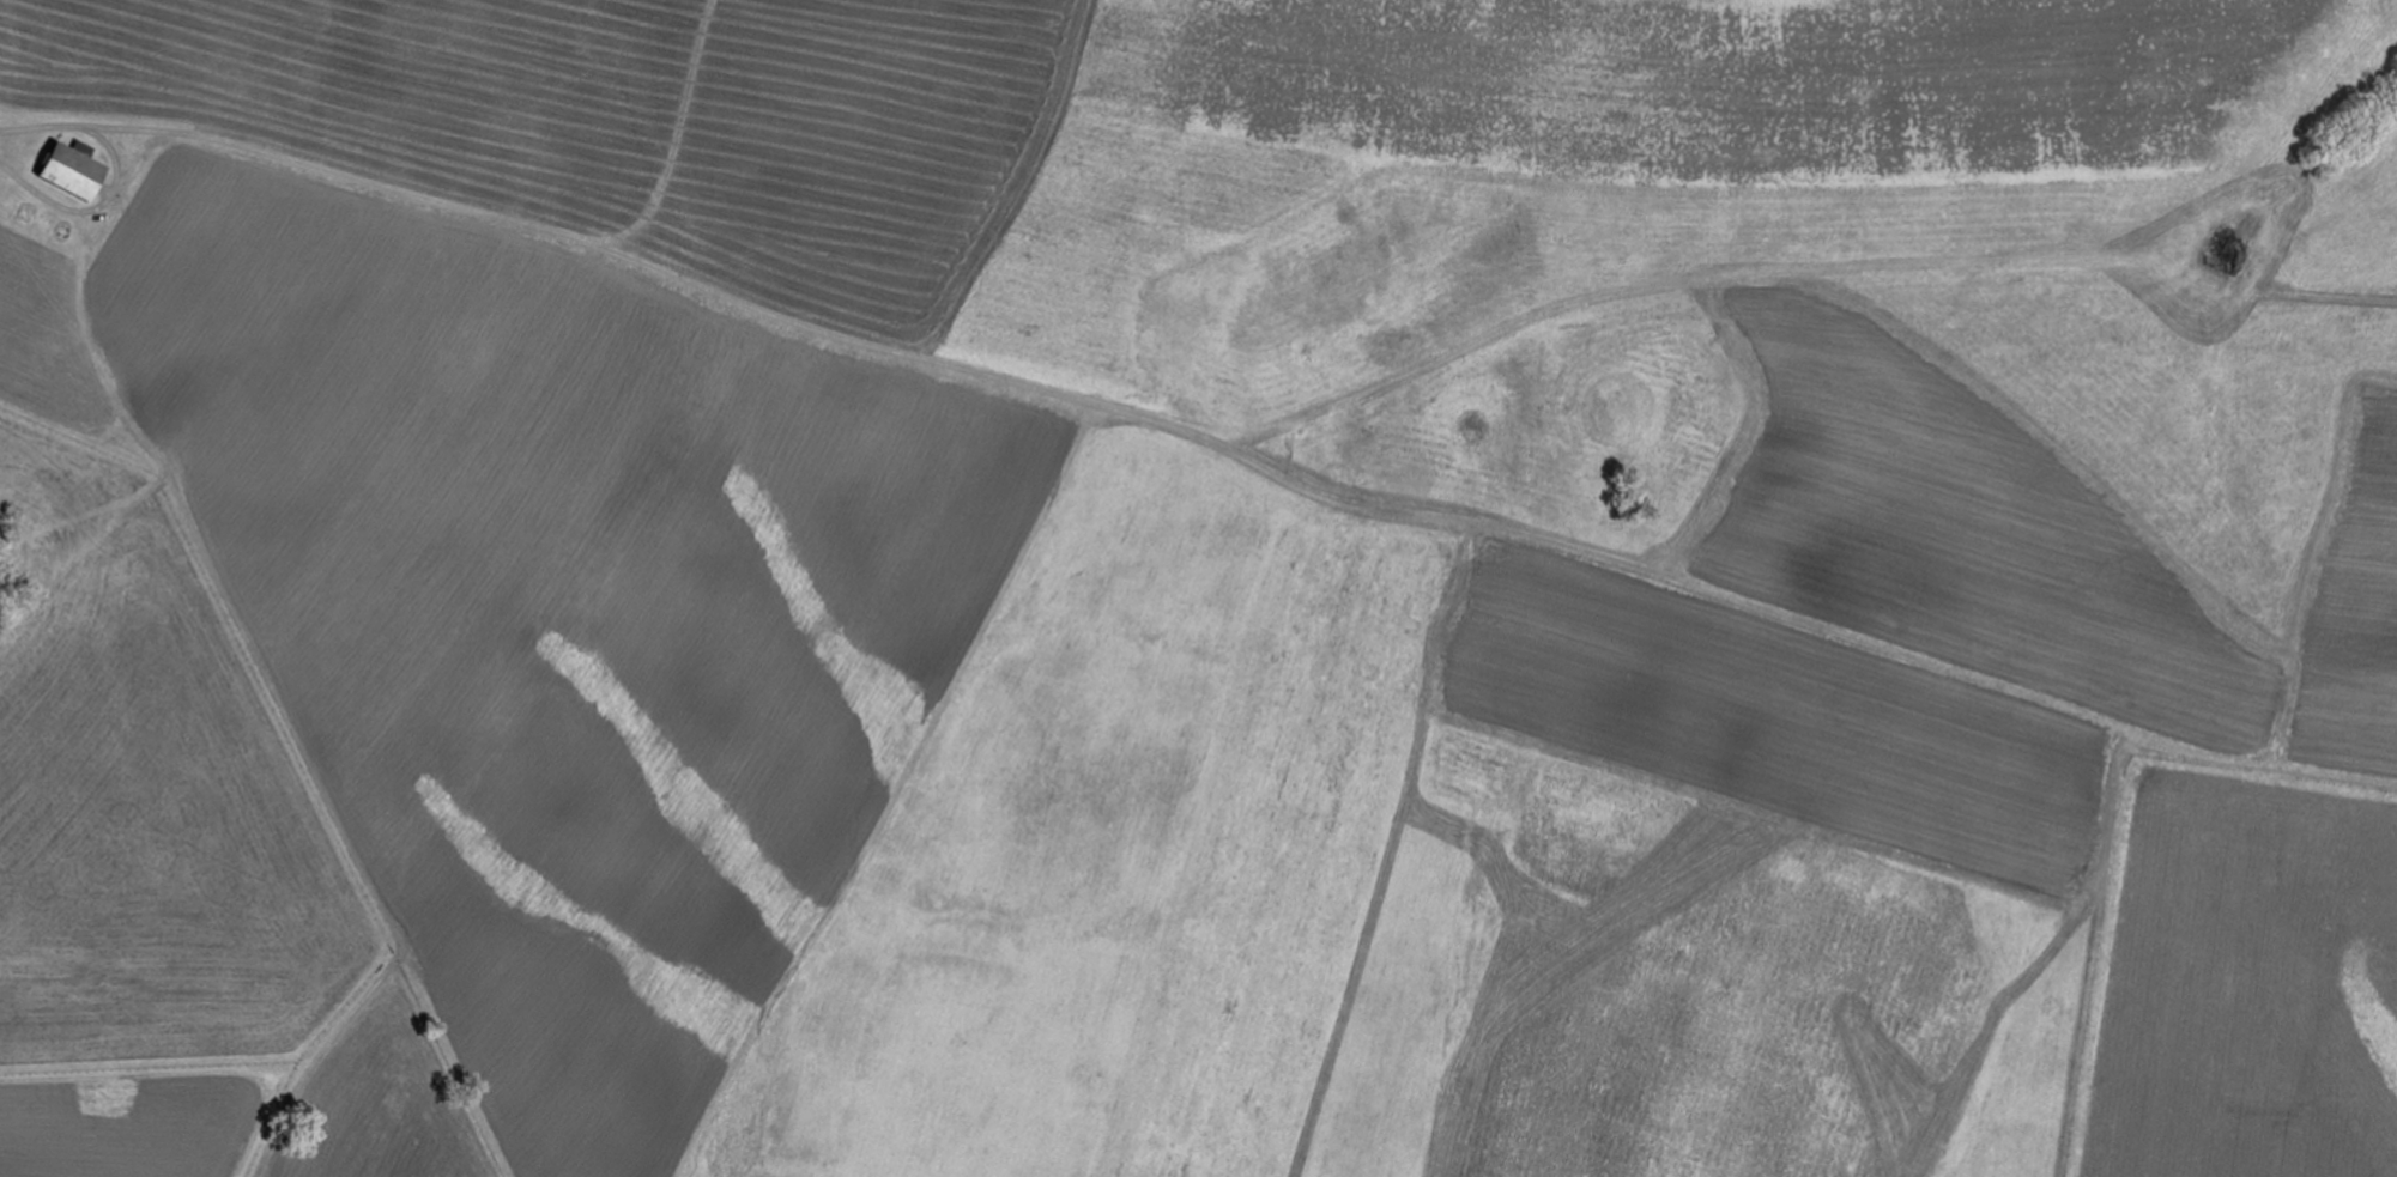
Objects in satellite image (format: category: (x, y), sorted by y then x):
building: (78, 170)
road: (266, 777)

